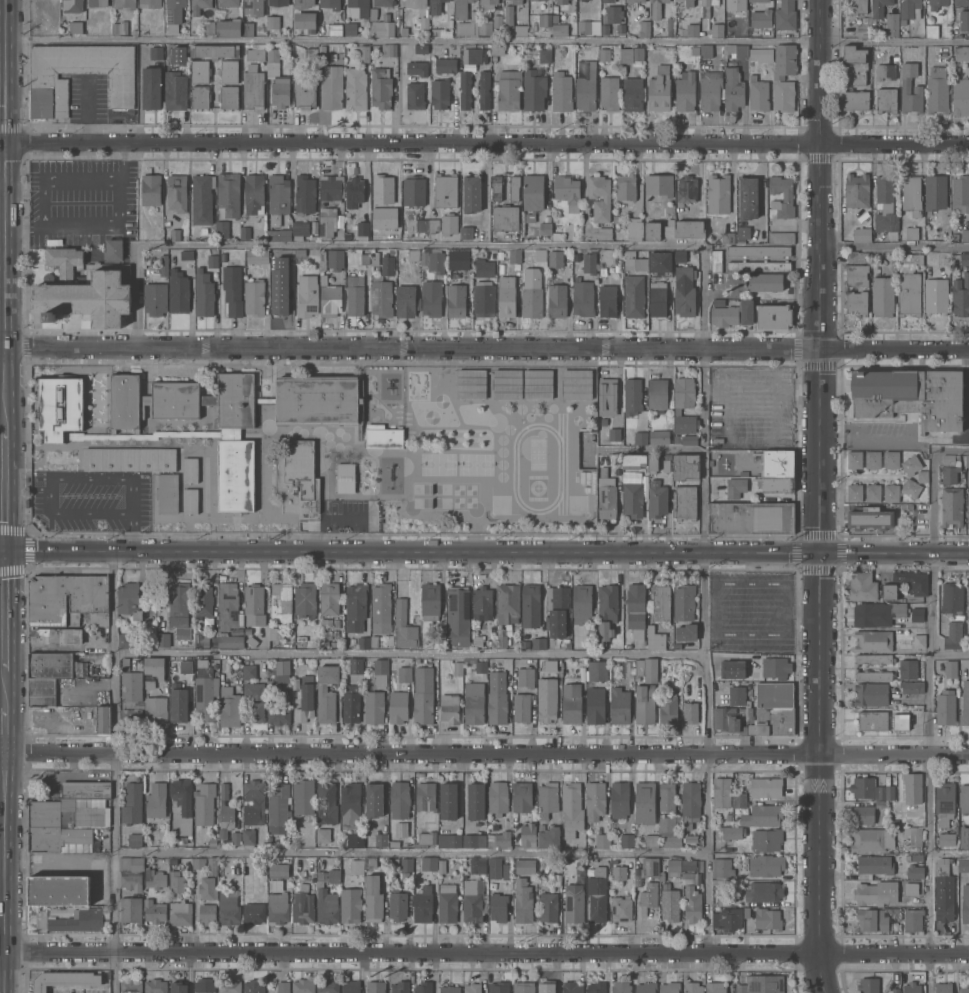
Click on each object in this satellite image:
building: (545, 0)
building: (608, 0)
building: (634, 0)
building: (757, 0)
building: (383, 1)
building: (561, 1)
building: (961, 1)
building: (97, 2)
building: (149, 2)
building: (228, 2)
building: (278, 2)
building: (303, 2)
building: (517, 2)
building: (124, 3)
building: (415, 3)
building: (688, 3)
building: (936, 3)
building: (71, 4)
building: (330, 4)
building: (198, 5)
building: (735, 5)
building: (857, 5)
building: (487, 6)
building: (253, 7)
building: (435, 7)
building: (878, 7)
building: (358, 8)
building: (656, 8)
building: (909, 8)
building: (461, 9)
building: (705, 12)
building: (612, 13)
building: (173, 14)
building: (784, 14)
building: (760, 16)
building: (508, 17)
building: (554, 17)
building: (964, 18)
building: (544, 19)
building: (274, 21)
building: (305, 21)
building: (497, 21)
building: (891, 22)
building: (75, 25)
building: (119, 25)
building: (207, 25)
building: (227, 25)
building: (382, 25)
building: (420, 25)
building: (583, 25)
building: (94, 26)
building: (468, 26)
building: (864, 26)
building: (246, 27)
building: (485, 27)
building: (619, 27)
building: (644, 27)
building: (670, 27)
building: (335, 28)
building: (350, 28)
building: (559, 28)
building: (605, 28)
building: (691, 28)
building: (933, 28)
building: (716, 29)
building: (133, 31)
building: (520, 31)
building: (754, 31)
building: (445, 33)
road: (487, 39)
building: (421, 47)
building: (496, 48)
building: (561, 48)
building: (167, 49)
building: (214, 49)
building: (388, 49)
building: (705, 49)
building: (695, 50)
building: (255, 51)
building: (322, 51)
building: (362, 51)
building: (309, 52)
building: (960, 52)
building: (155, 53)
building: (272, 53)
building: (603, 53)
building: (761, 53)
building: (544, 54)
building: (631, 54)
building: (475, 55)
building: (702, 60)
building: (445, 64)
building: (853, 64)
building: (417, 66)
building: (199, 69)
building: (227, 69)
building: (884, 69)
building: (967, 70)
building: (733, 76)
building: (778, 76)
building: (330, 85)
building: (149, 86)
building: (380, 86)
building: (355, 87)
building: (917, 87)
building: (252, 88)
building: (465, 88)
building: (483, 88)
building: (507, 88)
building: (532, 88)
building: (658, 88)
building: (174, 89)
building: (586, 89)
building: (684, 89)
building: (937, 89)
building: (279, 90)
building: (560, 90)
building: (48, 91)
building: (304, 91)
building: (439, 91)
building: (608, 91)
building: (709, 91)
building: (631, 92)
building: (758, 92)
building: (414, 94)
building: (199, 95)
building: (227, 95)
building: (960, 95)
building: (854, 98)
building: (885, 98)
road: (85, 112)
road: (484, 144)
road: (123, 164)
road: (59, 183)
building: (658, 183)
building: (513, 185)
building: (625, 185)
building: (495, 186)
building: (329, 187)
building: (382, 187)
building: (150, 188)
building: (412, 188)
building: (445, 188)
building: (856, 188)
building: (566, 189)
building: (685, 189)
building: (353, 190)
building: (532, 190)
building: (176, 191)
building: (253, 191)
building: (934, 191)
building: (960, 191)
building: (228, 192)
building: (717, 192)
building: (304, 193)
building: (471, 193)
building: (911, 193)
building: (787, 195)
building: (277, 196)
building: (201, 197)
building: (605, 197)
building: (747, 197)
building: (884, 202)
road: (4, 215)
building: (504, 217)
building: (326, 221)
building: (385, 222)
building: (448, 222)
building: (422, 223)
building: (433, 223)
road: (81, 224)
building: (220, 227)
building: (300, 227)
building: (545, 227)
building: (668, 227)
building: (689, 227)
building: (361, 228)
building: (634, 229)
building: (651, 229)
building: (244, 231)
building: (911, 231)
building: (604, 232)
building: (174, 233)
building: (278, 233)
building: (466, 233)
building: (742, 233)
building: (861, 233)
building: (964, 233)
building: (555, 234)
building: (954, 235)
building: (727, 236)
building: (780, 236)
road: (462, 242)
building: (112, 247)
road: (894, 247)
building: (757, 249)
building: (300, 251)
building: (186, 253)
building: (499, 253)
building: (567, 253)
building: (634, 253)
building: (256, 254)
building: (412, 254)
building: (539, 254)
building: (222, 255)
building: (288, 255)
building: (466, 255)
building: (514, 255)
building: (855, 255)
building: (424, 256)
building: (680, 256)
building: (364, 257)
building: (374, 257)
building: (554, 257)
building: (964, 257)
building: (64, 258)
building: (335, 258)
building: (777, 258)
building: (917, 258)
building: (211, 259)
building: (322, 259)
building: (436, 259)
building: (589, 259)
building: (714, 259)
building: (944, 259)
building: (163, 261)
building: (659, 261)
building: (634, 262)
building: (386, 263)
building: (758, 264)
building: (483, 266)
building: (602, 266)
building: (855, 273)
road: (820, 275)
building: (763, 281)
building: (232, 288)
building: (683, 289)
building: (177, 290)
building: (202, 292)
building: (909, 292)
building: (87, 294)
building: (278, 294)
building: (306, 294)
building: (354, 294)
building: (881, 294)
building: (935, 294)
building: (960, 294)
building: (505, 295)
building: (633, 295)
building: (254, 296)
building: (431, 296)
building: (483, 296)
building: (582, 296)
building: (154, 297)
building: (381, 297)
building: (531, 297)
building: (657, 297)
building: (455, 298)
building: (606, 298)
building: (329, 299)
building: (405, 299)
building: (556, 299)
building: (718, 300)
building: (855, 301)
building: (745, 311)
building: (724, 314)
building: (773, 315)
road: (485, 346)
building: (470, 382)
building: (506, 382)
building: (537, 382)
building: (576, 382)
building: (445, 386)
road: (968, 391)
building: (657, 392)
building: (631, 394)
building: (910, 394)
building: (607, 395)
building: (174, 398)
building: (207, 398)
building: (264, 398)
building: (318, 398)
building: (126, 400)
building: (234, 401)
building: (59, 405)
building: (677, 410)
building: (603, 419)
building: (141, 433)
building: (613, 434)
building: (382, 435)
building: (658, 435)
building: (639, 436)
road: (894, 436)
building: (58, 456)
building: (128, 457)
building: (949, 457)
building: (853, 458)
building: (872, 458)
building: (890, 458)
building: (967, 459)
building: (632, 460)
building: (652, 461)
building: (777, 462)
building: (910, 463)
building: (685, 466)
building: (189, 468)
building: (602, 470)
building: (743, 471)
building: (948, 473)
building: (235, 474)
building: (922, 474)
building: (296, 475)
building: (345, 476)
building: (967, 476)
building: (776, 483)
building: (735, 486)
building: (910, 486)
building: (854, 491)
building: (872, 491)
building: (890, 491)
road: (6, 492)
building: (166, 492)
building: (606, 496)
building: (632, 497)
building: (656, 498)
building: (189, 499)
building: (684, 501)
building: (951, 504)
building: (908, 505)
road: (98, 510)
building: (967, 510)
building: (750, 517)
building: (869, 517)
traffic signals: (820, 551)
road: (894, 551)
road: (413, 552)
road: (3, 554)
traffic signals: (7, 554)
building: (912, 581)
building: (860, 586)
building: (888, 590)
building: (65, 596)
building: (305, 597)
building: (329, 597)
building: (951, 597)
building: (129, 598)
building: (202, 599)
building: (280, 601)
building: (481, 601)
building: (508, 601)
building: (581, 601)
building: (660, 601)
building: (967, 601)
building: (178, 603)
building: (253, 603)
building: (228, 604)
building: (429, 604)
building: (531, 604)
building: (355, 605)
road: (714, 605)
road: (704, 607)
building: (380, 608)
building: (557, 608)
building: (606, 609)
road: (804, 609)
building: (635, 610)
road: (5, 611)
building: (683, 611)
building: (876, 612)
building: (916, 613)
building: (141, 615)
building: (457, 616)
building: (326, 622)
building: (336, 622)
building: (473, 624)
building: (404, 625)
building: (583, 627)
building: (247, 629)
building: (591, 631)
building: (182, 632)
building: (275, 632)
building: (322, 632)
building: (332, 633)
building: (55, 635)
building: (953, 635)
building: (655, 637)
building: (159, 638)
building: (200, 639)
building: (251, 639)
building: (477, 639)
building: (501, 639)
building: (872, 639)
building: (918, 639)
building: (125, 640)
building: (230, 640)
building: (967, 640)
building: (325, 641)
building: (362, 641)
building: (374, 641)
building: (537, 641)
building: (334, 642)
building: (526, 642)
building: (575, 643)
road: (50, 649)
road: (408, 653)
road: (113, 655)
building: (95, 656)
road: (951, 656)
building: (494, 658)
building: (872, 658)
building: (124, 660)
building: (469, 660)
building: (580, 660)
building: (196, 661)
building: (49, 664)
building: (549, 664)
building: (153, 665)
building: (185, 665)
building: (355, 665)
building: (480, 665)
building: (774, 665)
building: (236, 666)
building: (457, 666)
building: (907, 667)
building: (950, 667)
building: (631, 668)
building: (638, 668)
building: (649, 668)
building: (596, 669)
building: (732, 669)
building: (248, 670)
building: (379, 670)
building: (279, 673)
building: (404, 673)
building: (872, 674)
building: (525, 676)
building: (630, 676)
building: (295, 682)
building: (130, 685)
building: (911, 686)
road: (932, 686)
road: (4, 688)
building: (252, 689)
building: (670, 690)
building: (41, 691)
building: (326, 691)
building: (203, 692)
building: (870, 692)
building: (423, 694)
building: (736, 694)
building: (774, 694)
building: (572, 696)
building: (546, 697)
building: (304, 699)
building: (177, 701)
building: (473, 701)
building: (965, 701)
building: (350, 702)
building: (644, 703)
building: (153, 704)
building: (595, 704)
building: (374, 705)
building: (397, 705)
building: (497, 705)
building: (620, 705)
building: (228, 706)
building: (449, 706)
building: (521, 706)
building: (945, 706)
building: (668, 708)
building: (689, 709)
building: (254, 710)
building: (746, 712)
building: (129, 713)
building: (914, 713)
building: (278, 715)
building: (102, 718)
building: (727, 719)
building: (872, 719)
building: (774, 720)
building: (900, 721)
building: (749, 727)
road: (3, 732)
road: (1, 756)
road: (485, 757)
road: (820, 772)
building: (766, 785)
building: (862, 786)
building: (657, 787)
building: (912, 787)
building: (85, 788)
building: (721, 791)
building: (880, 791)
building: (889, 791)
building: (302, 795)
building: (424, 795)
building: (666, 795)
building: (373, 796)
building: (497, 796)
building: (521, 796)
building: (964, 796)
building: (546, 797)
building: (399, 798)
building: (618, 798)
building: (690, 798)
building: (155, 799)
building: (594, 799)
building: (738, 799)
building: (182, 800)
building: (253, 800)
building: (475, 800)
building: (326, 801)
building: (447, 801)
building: (644, 801)
building: (944, 801)
building: (131, 802)
building: (203, 802)
building: (350, 803)
building: (277, 807)
building: (571, 808)
building: (224, 810)
building: (62, 813)
building: (861, 813)
building: (716, 814)
building: (761, 814)
building: (727, 815)
building: (306, 831)
building: (669, 831)
building: (732, 832)
building: (322, 834)
building: (527, 834)
building: (247, 835)
building: (915, 835)
building: (56, 836)
building: (963, 836)
building: (235, 837)
building: (548, 837)
building: (945, 837)
building: (134, 838)
building: (355, 838)
building: (498, 838)
building: (766, 838)
building: (870, 838)
building: (381, 839)
building: (425, 839)
building: (601, 839)
building: (626, 839)
building: (650, 839)
building: (171, 840)
building: (449, 840)
building: (473, 840)
building: (689, 840)
building: (212, 841)
building: (394, 844)
road: (412, 851)
road: (949, 854)
building: (913, 856)
building: (370, 860)
building: (394, 860)
building: (198, 861)
building: (429, 862)
building: (406, 863)
building: (690, 863)
building: (476, 864)
building: (673, 864)
building: (765, 864)
building: (873, 864)
building: (211, 865)
building: (356, 865)
building: (441, 865)
building: (524, 865)
building: (964, 865)
building: (494, 866)
building: (721, 866)
building: (278, 869)
building: (646, 869)
building: (506, 870)
building: (914, 870)
building: (334, 872)
building: (618, 872)
building: (132, 874)
road: (3, 875)
road: (114, 875)
building: (661, 875)
building: (154, 877)
building: (556, 877)
building: (176, 880)
building: (719, 882)
building: (274, 885)
building: (206, 887)
power substation: (59, 889)
building: (58, 890)
building: (764, 890)
building: (872, 892)
building: (943, 892)
building: (596, 893)
building: (647, 895)
building: (372, 897)
building: (473, 899)
building: (522, 900)
building: (723, 900)
building: (447, 902)
building: (573, 902)
building: (669, 902)
building: (691, 902)
building: (350, 903)
building: (397, 903)
building: (423, 903)
road: (709, 903)
building: (965, 903)
building: (326, 905)
building: (497, 906)
building: (548, 906)
building: (277, 907)
building: (621, 907)
building: (130, 908)
building: (154, 910)
building: (227, 911)
building: (253, 911)
building: (302, 911)
building: (746, 911)
building: (206, 912)
building: (179, 913)
building: (726, 917)
building: (767, 918)
building: (871, 918)
building: (78, 919)
building: (912, 919)
road: (486, 952)
road: (734, 973)
road: (927, 973)
building: (64, 978)
building: (759, 983)
building: (130, 985)
building: (154, 985)
building: (203, 985)
building: (228, 985)
building: (303, 985)
building: (867, 985)
building: (177, 986)
building: (253, 986)
building: (282, 986)
building: (327, 986)
building: (350, 986)
building: (375, 986)
building: (399, 986)
building: (423, 986)
building: (498, 986)
building: (621, 986)
building: (471, 987)
building: (523, 987)
building: (545, 987)
building: (572, 987)
building: (595, 987)
building: (645, 987)
building: (669, 987)
building: (692, 987)
building: (714, 987)
building: (911, 987)
building: (943, 987)
building: (449, 988)
building: (964, 988)
building: (894, 989)

